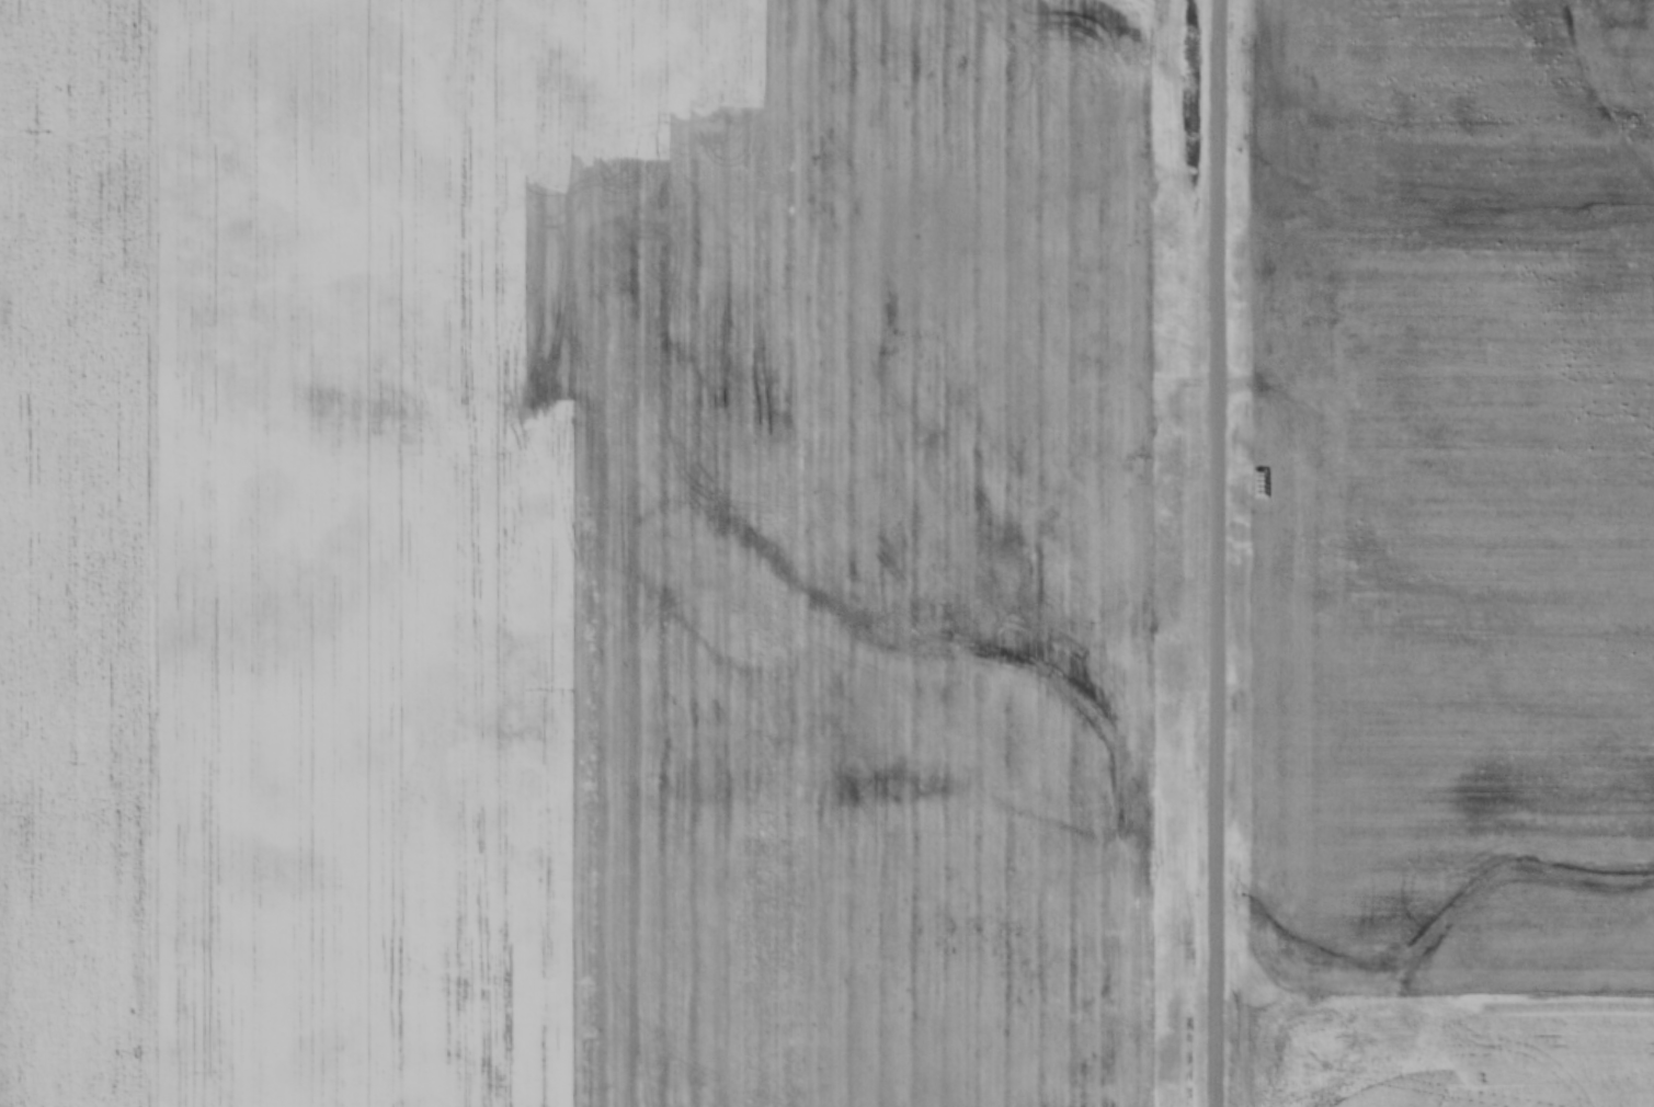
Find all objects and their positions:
road: (1256, 263)
road: (1224, 553)

